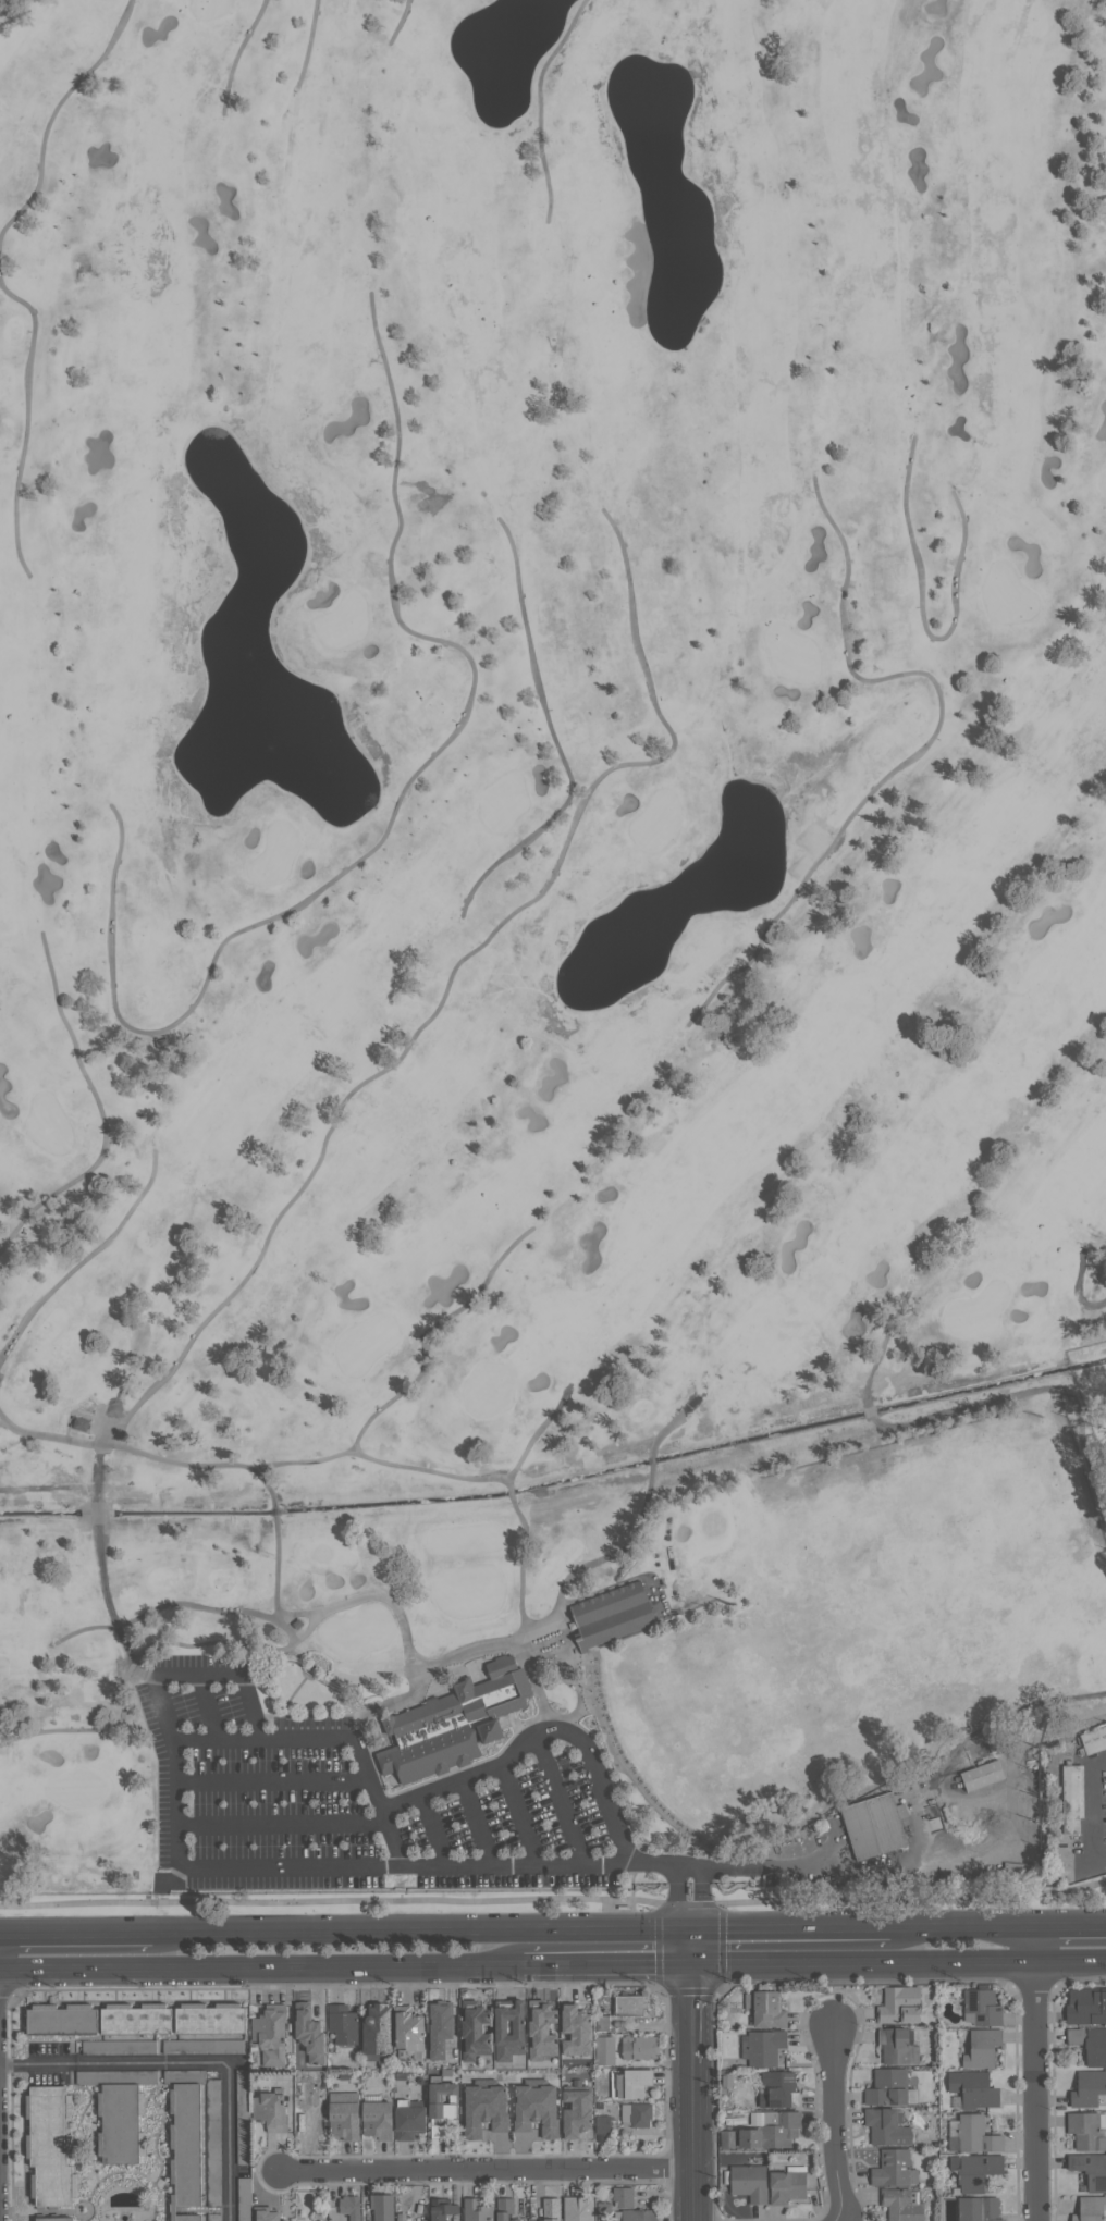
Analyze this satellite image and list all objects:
road: (398, 24)
road: (309, 42)
road: (236, 57)
road: (538, 106)
road: (53, 111)
road: (23, 419)
road: (923, 614)
road: (553, 735)
road: (922, 746)
road: (393, 815)
park: (549, 940)
park: (552, 957)
road: (422, 1025)
road: (99, 1108)
road: (89, 1257)
road: (1078, 1285)
road: (429, 1330)
road: (880, 1344)
road: (994, 1401)
road: (871, 1411)
road: (3, 1421)
road: (668, 1427)
road: (539, 1432)
road: (649, 1461)
road: (308, 1463)
road: (267, 1483)
road: (511, 1495)
road: (274, 1510)
road: (99, 1554)
road: (593, 1560)
road: (521, 1572)
road: (162, 1607)
building: (613, 1616)
road: (155, 1641)
road: (373, 1675)
road: (198, 1677)
road: (250, 1710)
road: (208, 1711)
building: (453, 1726)
road: (540, 1733)
road: (333, 1740)
building: (1095, 1742)
building: (981, 1775)
road: (274, 1782)
building: (1072, 1802)
road: (558, 1803)
road: (1095, 1812)
road: (518, 1821)
road: (282, 1826)
road: (476, 1827)
building: (874, 1828)
road: (432, 1835)
road: (796, 1859)
road: (692, 1870)
road: (308, 1871)
road: (554, 1900)
road: (676, 1901)
road: (701, 1901)
road: (1070, 1926)
road: (962, 1927)
road: (790, 1929)
traffic signals: (691, 1930)
road: (421, 1932)
road: (76, 1934)
road: (1035, 1944)
road: (691, 1947)
road: (1070, 1960)
road: (863, 1962)
road: (607, 1963)
traffic signals: (692, 1963)
road: (261, 1965)
building: (632, 2004)
building: (900, 2004)
building: (1086, 2006)
building: (983, 2007)
building: (494, 2008)
building: (767, 2008)
road: (692, 2012)
building: (213, 2018)
building: (64, 2019)
building: (139, 2019)
building: (344, 2023)
building: (603, 2023)
building: (441, 2027)
building: (513, 2027)
building: (544, 2028)
building: (411, 2029)
building: (477, 2029)
building: (579, 2029)
building: (311, 2032)
building: (380, 2032)
building: (272, 2034)
building: (1091, 2044)
building: (122, 2046)
building: (204, 2046)
building: (899, 2046)
building: (641, 2047)
building: (763, 2047)
building: (983, 2048)
building: (605, 2050)
road: (38, 2064)
road: (231, 2064)
building: (630, 2083)
building: (889, 2086)
building: (975, 2088)
building: (1089, 2088)
building: (779, 2089)
road: (1035, 2090)
building: (440, 2102)
building: (488, 2107)
building: (539, 2107)
building: (272, 2110)
building: (121, 2111)
building: (580, 2111)
building: (345, 2114)
building: (636, 2114)
building: (243, 2117)
building: (379, 2118)
building: (411, 2119)
building: (604, 2123)
road: (835, 2126)
building: (887, 2126)
building: (772, 2129)
building: (1086, 2131)
building: (974, 2135)
building: (196, 2137)
building: (728, 2138)
road: (693, 2140)
building: (52, 2145)
building: (893, 2167)
building: (1091, 2169)
road: (486, 2170)
building: (976, 2170)
building: (751, 2182)
building: (789, 2185)
building: (624, 2197)
building: (244, 2198)
building: (904, 2205)
building: (351, 2206)
building: (383, 2207)
building: (579, 2208)
building: (443, 2209)
building: (506, 2209)
building: (553, 2209)
building: (980, 2209)
building: (1091, 2209)
building: (478, 2210)
building: (604, 2211)
building: (267, 2214)
building: (640, 2214)
building: (402, 2217)
building: (197, 2218)
building: (57, 2219)
building: (288, 2220)

